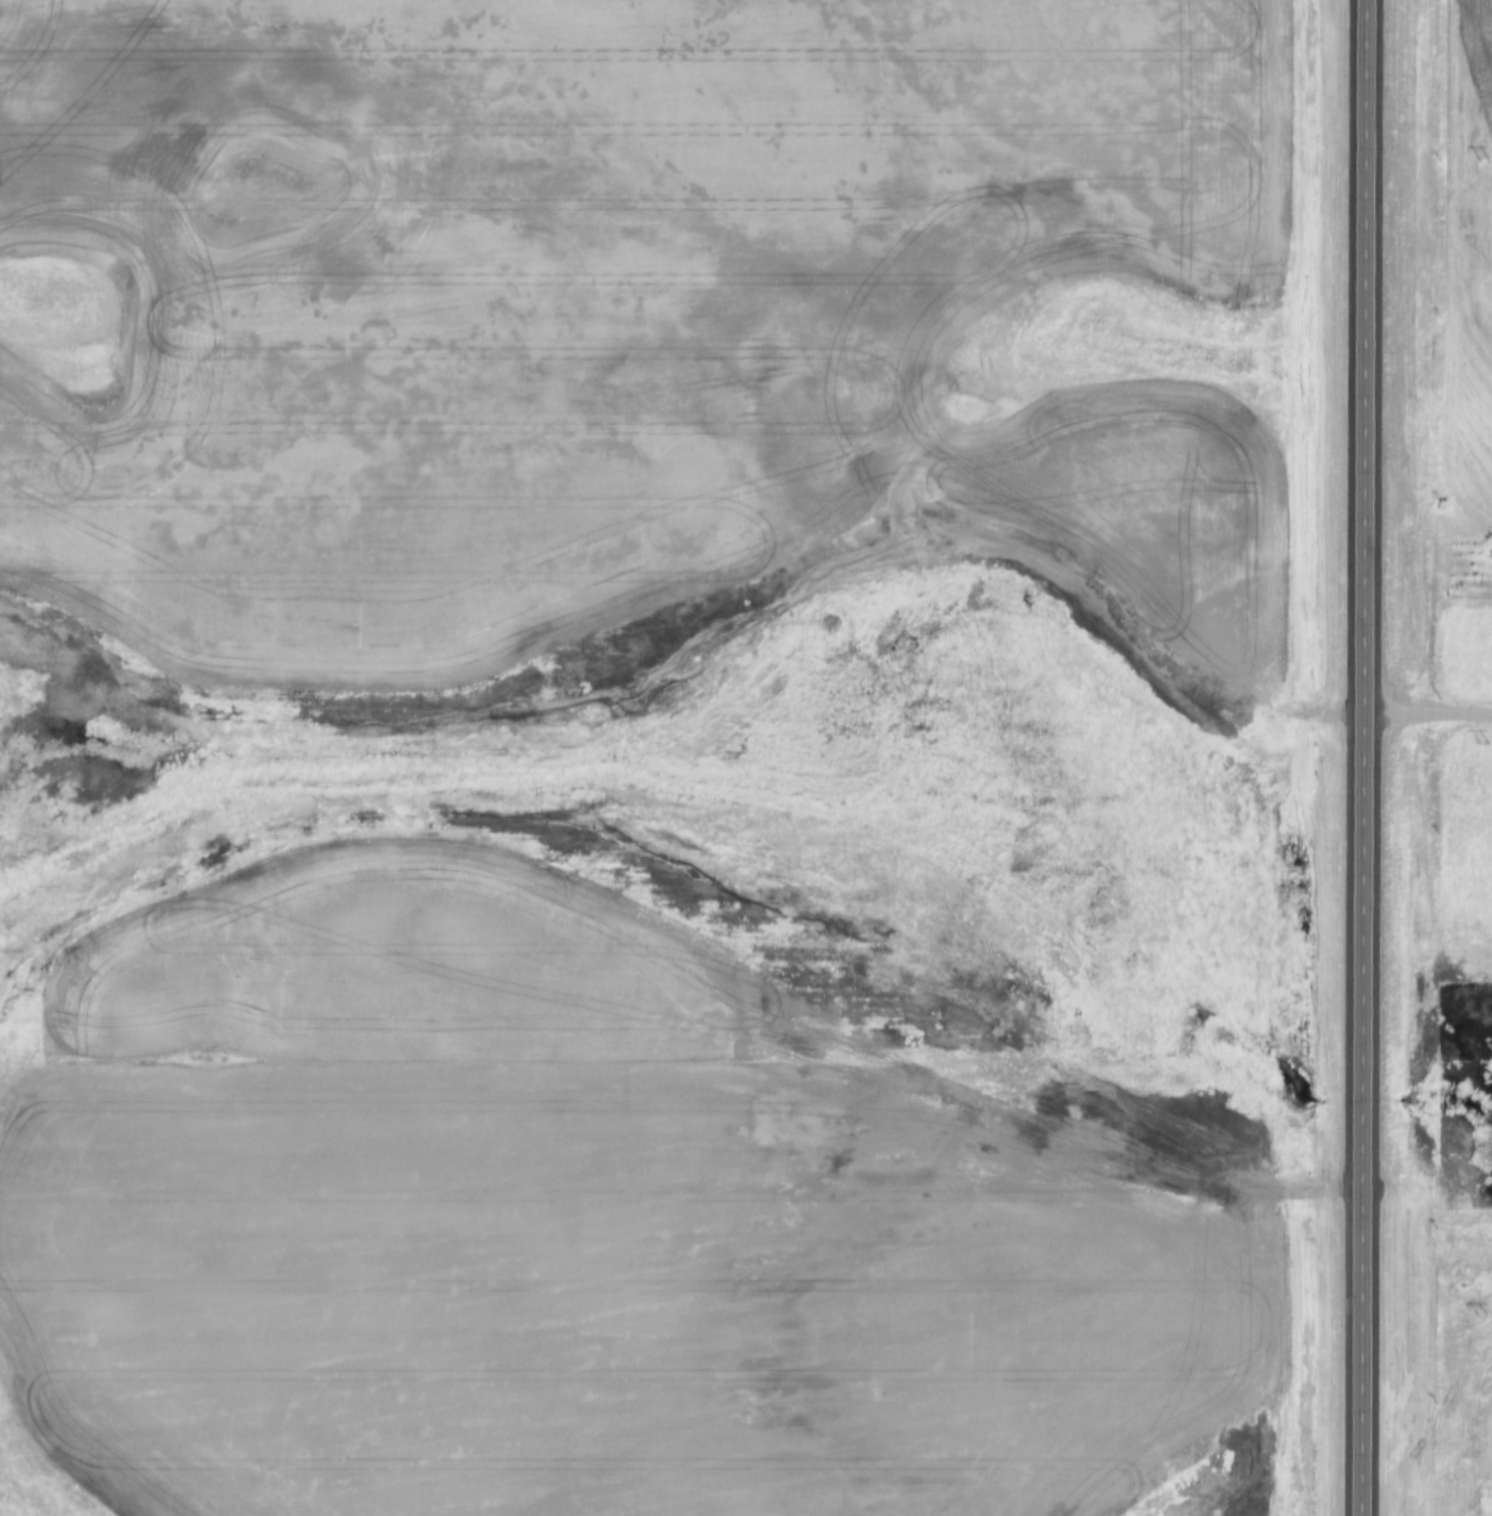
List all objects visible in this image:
power tower: (1482, 161)
road: (1430, 715)
power tower: (1482, 745)
road: (1367, 758)
power tower: (1480, 1317)

